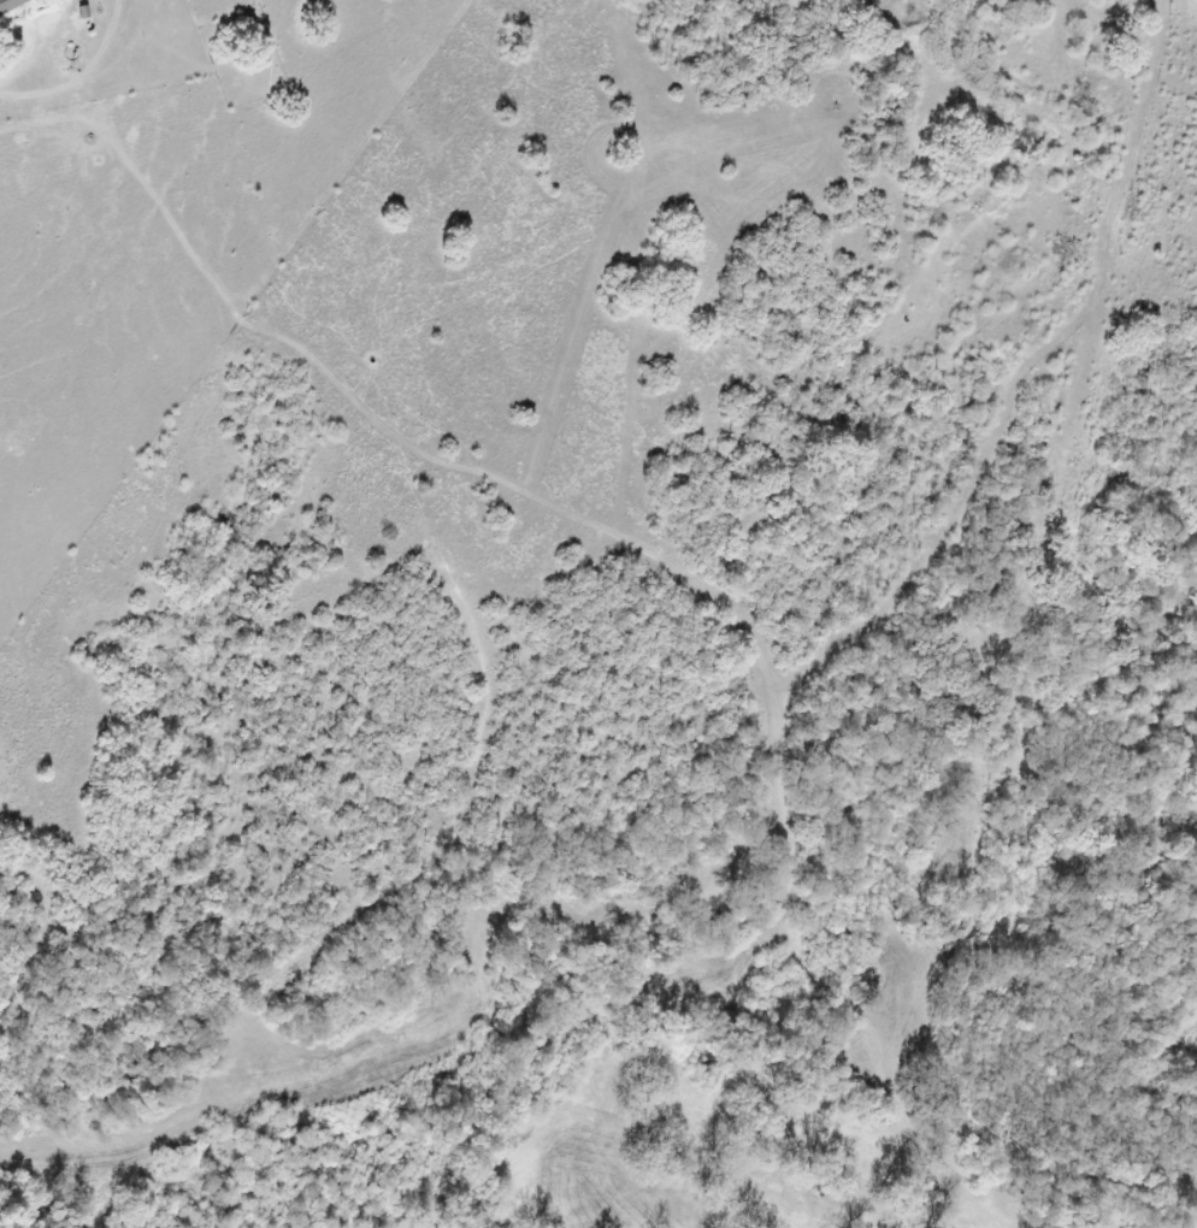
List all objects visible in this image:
road: (16, 6)

